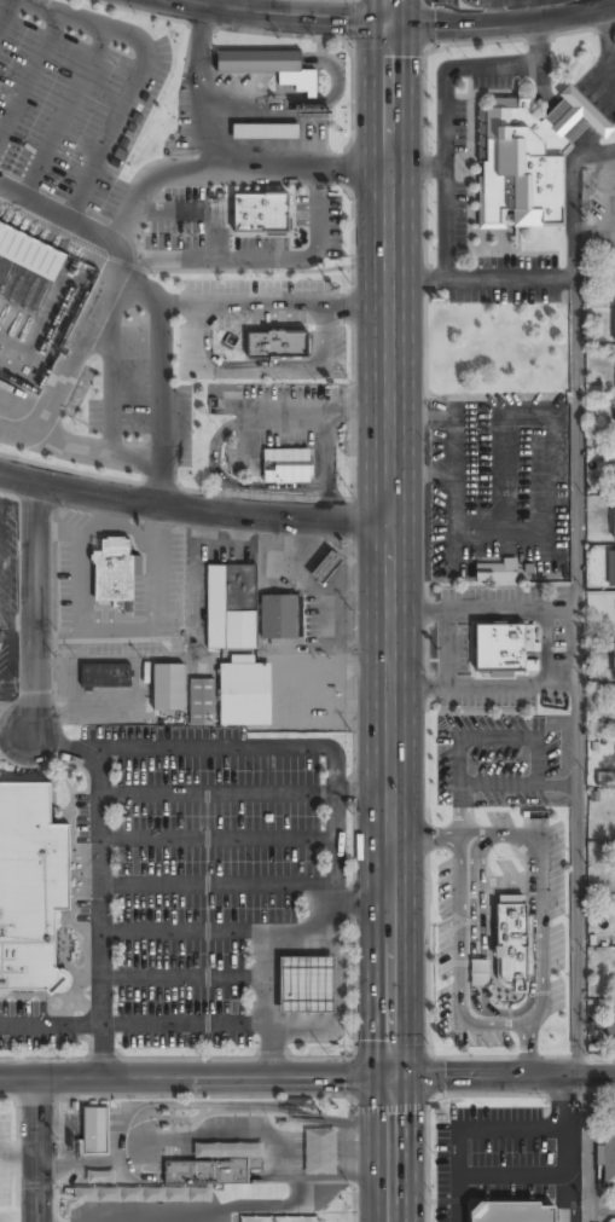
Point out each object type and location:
road: (597, 5)
parking lot: (466, 6)
road: (492, 15)
road: (280, 18)
road: (8, 19)
road: (503, 28)
traffic signals: (390, 29)
building: (271, 68)
road: (146, 76)
road: (35, 82)
parking lot: (72, 109)
road: (445, 109)
road: (75, 114)
building: (266, 133)
building: (528, 160)
road: (232, 170)
road: (199, 210)
building: (259, 214)
parking lot: (178, 220)
parking lot: (319, 221)
parking lot: (260, 243)
building: (30, 251)
road: (192, 259)
road: (483, 278)
building: (614, 325)
road: (79, 343)
building: (278, 346)
road: (161, 377)
road: (425, 412)
road: (98, 450)
building: (291, 464)
road: (454, 470)
road: (195, 511)
building: (614, 525)
building: (326, 568)
building: (611, 569)
building: (495, 571)
building: (115, 572)
road: (35, 604)
building: (231, 608)
road: (393, 610)
building: (279, 618)
building: (500, 649)
building: (614, 660)
building: (105, 677)
road: (576, 677)
building: (168, 689)
building: (233, 697)
road: (103, 881)
parking lot: (203, 884)
building: (29, 885)
building: (511, 945)
building: (478, 972)
building: (306, 985)
gas station: (306, 985)
building: (610, 1035)
road: (503, 1076)
traffic signals: (393, 1077)
road: (196, 1078)
building: (95, 1131)
building: (231, 1149)
road: (34, 1151)
building: (608, 1158)
parking lot: (507, 1162)
building: (205, 1172)
road: (599, 1209)
building: (515, 1212)

